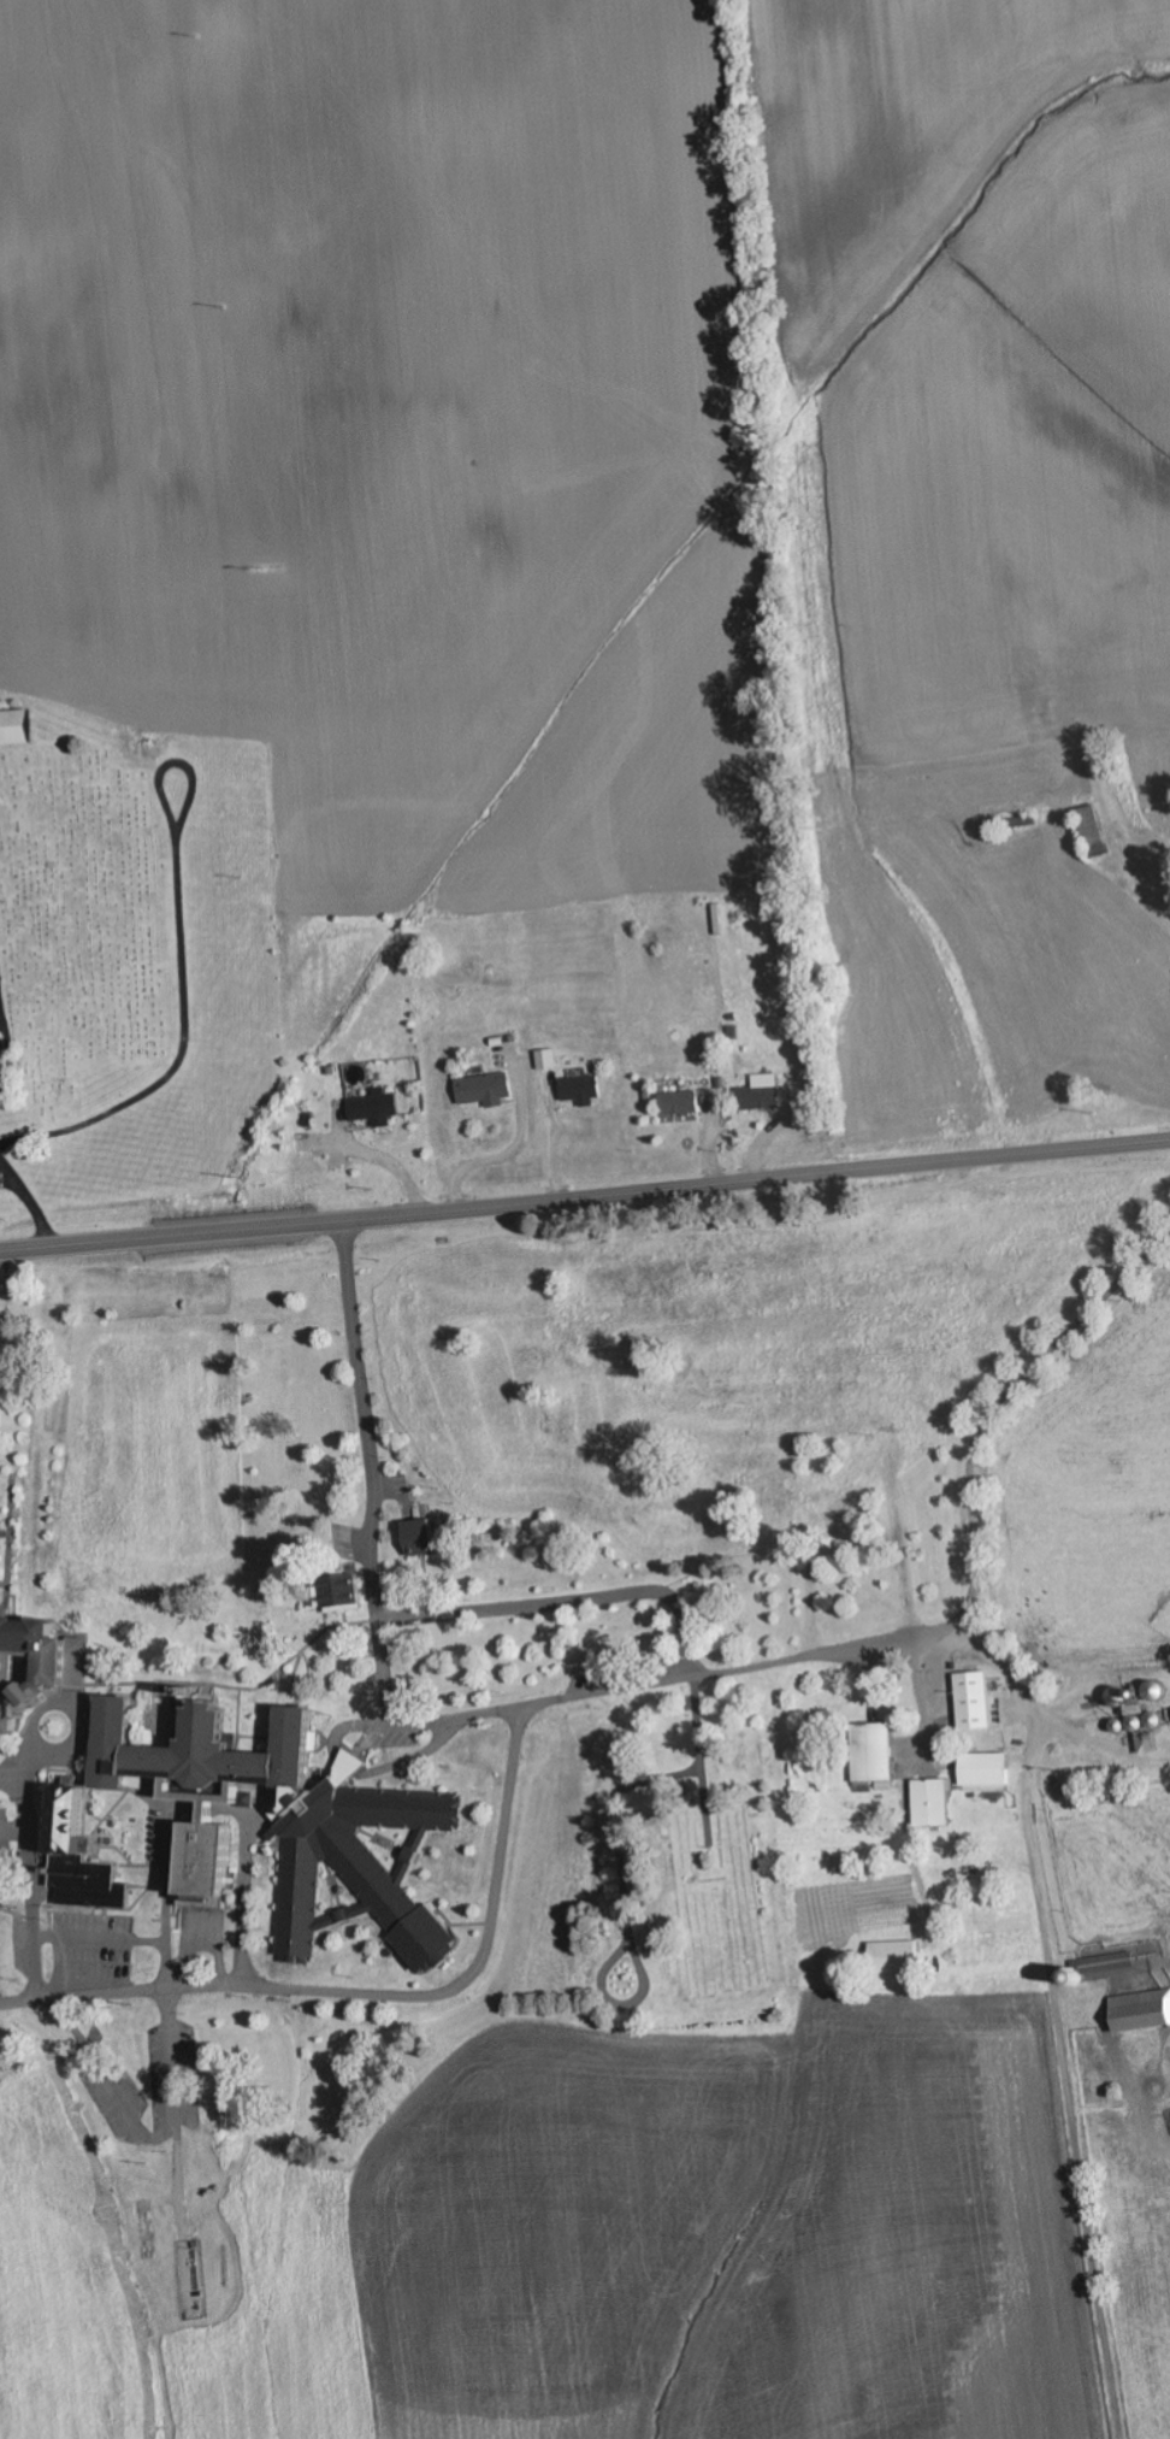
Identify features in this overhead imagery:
park: (134, 953)
building: (550, 1059)
building: (0, 1067)
building: (486, 1090)
building: (583, 1090)
building: (763, 1094)
building: (680, 1103)
building: (376, 1108)
road: (585, 1198)
road: (360, 1421)
building: (421, 1537)
building: (342, 1595)
road: (566, 1598)
building: (36, 1667)
road: (609, 1691)
building: (1119, 1697)
building: (976, 1702)
building: (1146, 1727)
building: (874, 1752)
building: (987, 1771)
building: (934, 1802)
building: (306, 1830)
building: (79, 1858)
road: (29, 1883)
park: (680, 1897)
road: (167, 1943)
building: (897, 1958)
building: (1109, 1963)
building: (1141, 2013)

